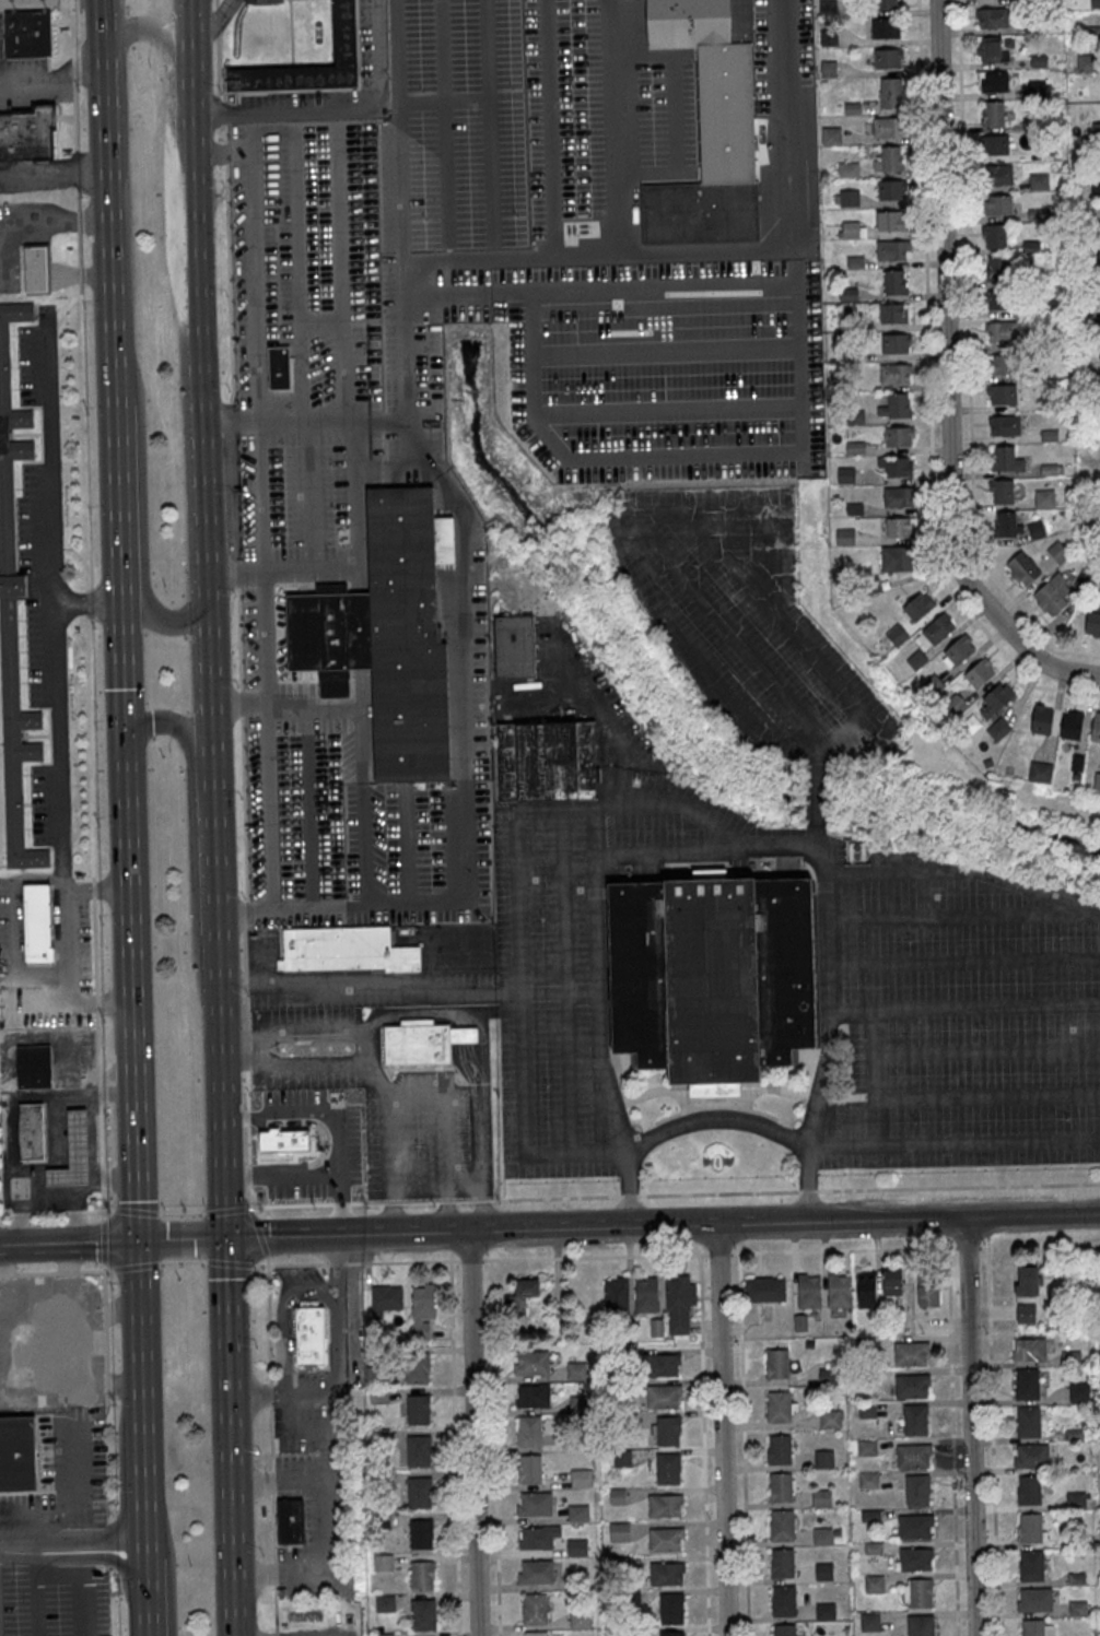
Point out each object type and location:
building: (257, 0)
power substation: (25, 2)
road: (217, 3)
building: (1095, 3)
road: (70, 4)
building: (887, 4)
building: (993, 16)
road: (60, 20)
road: (215, 20)
road: (218, 20)
building: (885, 27)
road: (71, 30)
building: (346, 31)
building: (27, 32)
building: (991, 50)
building: (888, 58)
building: (1086, 62)
road: (219, 63)
street lamp: (150, 64)
parking lot: (20, 66)
road: (72, 66)
road: (55, 78)
building: (994, 81)
street lamp: (80, 87)
building: (1035, 89)
street lamp: (223, 90)
parking lot: (22, 92)
building: (890, 92)
building: (510, 104)
road: (336, 105)
road: (222, 108)
building: (992, 113)
road: (74, 115)
building: (712, 123)
building: (887, 126)
road: (550, 129)
building: (27, 130)
building: (1096, 130)
road: (168, 143)
building: (994, 144)
road: (224, 154)
street lamp: (314, 157)
street lamp: (274, 158)
building: (889, 158)
road: (55, 165)
road: (75, 168)
building: (847, 169)
building: (997, 174)
parking lot: (33, 177)
street lamp: (233, 181)
building: (1038, 181)
street lamp: (225, 185)
building: (891, 189)
building: (1095, 190)
street lamp: (81, 193)
road: (77, 198)
building: (846, 198)
street lamp: (234, 203)
street lamp: (277, 203)
building: (997, 204)
building: (517, 208)
building: (1038, 214)
road: (78, 217)
road: (55, 220)
building: (890, 220)
building: (1098, 225)
street lamp: (234, 226)
building: (994, 235)
building: (1031, 245)
road: (79, 246)
building: (890, 249)
street lamp: (235, 250)
road: (695, 254)
building: (1098, 255)
road: (528, 258)
road: (420, 260)
road: (229, 262)
road: (12, 263)
road: (36, 263)
building: (36, 266)
road: (63, 268)
building: (998, 268)
road: (63, 272)
road: (80, 272)
road: (95, 272)
road: (12, 273)
road: (36, 273)
road: (405, 273)
road: (63, 276)
street lamp: (235, 280)
road: (3, 281)
road: (37, 281)
building: (894, 282)
road: (81, 285)
building: (999, 299)
street lamp: (236, 303)
street lamp: (86, 305)
building: (894, 313)
building: (1097, 323)
street lamp: (236, 326)
building: (1000, 331)
road: (347, 343)
building: (896, 343)
road: (304, 345)
road: (261, 346)
street lamp: (237, 352)
building: (1099, 352)
road: (968, 362)
building: (1002, 364)
building: (280, 365)
road: (114, 369)
building: (894, 373)
road: (947, 377)
street lamp: (237, 379)
road: (198, 380)
building: (1099, 382)
street lamp: (230, 388)
building: (1002, 393)
road: (929, 395)
street lamp: (238, 402)
building: (896, 405)
street lamp: (292, 409)
street lamp: (87, 411)
road: (231, 414)
building: (1004, 424)
road: (379, 425)
road: (274, 427)
building: (1049, 435)
building: (898, 436)
street lamp: (284, 445)
street lamp: (238, 446)
building: (1005, 459)
street lamp: (335, 464)
building: (898, 466)
street lamp: (239, 467)
building: (1049, 469)
street lamp: (285, 487)
building: (1000, 491)
building: (898, 496)
building: (1044, 498)
street lamp: (335, 508)
street lamp: (242, 511)
road: (139, 525)
building: (900, 527)
road: (700, 529)
street lamp: (243, 531)
street lamp: (286, 531)
parking lot: (353, 537)
building: (845, 537)
street lamp: (244, 554)
building: (898, 558)
road: (312, 567)
building: (1022, 568)
road: (236, 570)
street lamp: (166, 586)
street lamp: (235, 595)
building: (1052, 595)
road: (87, 601)
building: (918, 605)
building: (14, 607)
parking lot: (745, 622)
building: (1092, 624)
building: (938, 628)
building: (388, 633)
building: (897, 635)
building: (515, 646)
building: (958, 649)
building: (979, 672)
street lamp: (237, 685)
road: (58, 687)
building: (995, 698)
road: (241, 701)
building: (955, 704)
building: (1041, 718)
road: (174, 723)
building: (1072, 725)
building: (1096, 727)
road: (605, 728)
building: (998, 729)
road: (270, 737)
traffic signals: (127, 739)
road: (364, 758)
building: (546, 761)
building: (1040, 768)
street lamp: (241, 799)
road: (688, 813)
street lamp: (98, 825)
road: (459, 834)
road: (407, 845)
road: (215, 846)
road: (953, 869)
road: (97, 886)
parking lot: (582, 907)
road: (245, 908)
road: (963, 913)
building: (39, 923)
building: (346, 950)
building: (712, 977)
road: (131, 990)
road: (368, 990)
road: (519, 990)
road: (431, 1016)
parking lot: (966, 1017)
building: (422, 1040)
road: (372, 1048)
road: (264, 1050)
building: (34, 1066)
road: (376, 1075)
road: (220, 1084)
road: (440, 1119)
road: (715, 1119)
building: (333, 1120)
building: (33, 1134)
road: (956, 1144)
building: (74, 1156)
road: (442, 1186)
road: (483, 1188)
road: (958, 1188)
road: (807, 1192)
road: (718, 1194)
road: (629, 1197)
road: (553, 1199)
road: (445, 1202)
road: (465, 1202)
road: (481, 1202)
road: (350, 1203)
road: (374, 1203)
road: (419, 1203)
road: (393, 1204)
road: (293, 1205)
road: (102, 1210)
road: (226, 1211)
road: (908, 1220)
road: (593, 1227)
road: (259, 1232)
road: (412, 1234)
road: (290, 1236)
traffic signals: (225, 1239)
road: (182, 1240)
traffic signals: (139, 1241)
road: (69, 1244)
road: (866, 1248)
road: (522, 1258)
road: (338, 1260)
road: (337, 1264)
road: (299, 1266)
building: (1028, 1281)
building: (891, 1283)
building: (764, 1288)
building: (809, 1291)
building: (839, 1291)
building: (866, 1293)
building: (927, 1293)
building: (616, 1294)
building: (646, 1294)
building: (520, 1296)
building: (386, 1299)
building: (679, 1303)
road: (356, 1309)
building: (422, 1309)
building: (1026, 1313)
road: (284, 1316)
building: (657, 1327)
building: (311, 1339)
building: (1029, 1349)
building: (911, 1352)
building: (777, 1363)
road: (270, 1364)
road: (337, 1364)
building: (530, 1364)
building: (664, 1365)
building: (417, 1368)
building: (830, 1372)
building: (376, 1374)
building: (1027, 1382)
building: (913, 1386)
road: (142, 1389)
building: (1079, 1391)
road: (257, 1394)
building: (378, 1396)
building: (531, 1397)
building: (664, 1397)
parking lot: (306, 1400)
building: (779, 1407)
building: (866, 1409)
building: (418, 1410)
building: (830, 1419)
building: (915, 1420)
building: (1028, 1421)
road: (703, 1424)
road: (324, 1427)
road: (970, 1427)
road: (722, 1429)
building: (667, 1431)
building: (529, 1432)
road: (475, 1434)
road: (229, 1437)
parking lot: (300, 1440)
road: (495, 1447)
building: (866, 1447)
building: (779, 1449)
building: (418, 1451)
building: (16, 1452)
building: (913, 1455)
building: (1031, 1456)
building: (823, 1459)
road: (952, 1460)
building: (529, 1468)
building: (667, 1468)
building: (582, 1478)
building: (868, 1480)
road: (273, 1483)
building: (780, 1486)
building: (916, 1488)
building: (1029, 1490)
building: (419, 1492)
building: (618, 1496)
building: (821, 1497)
building: (1076, 1500)
building: (534, 1503)
building: (664, 1505)
building: (578, 1513)
building: (869, 1515)
building: (290, 1523)
building: (781, 1525)
building: (914, 1525)
road: (324, 1527)
road: (274, 1528)
building: (1030, 1528)
parking lot: (337, 1529)
building: (619, 1531)
building: (836, 1531)
building: (821, 1534)
building: (421, 1535)
building: (537, 1537)
building: (665, 1539)
road: (72, 1542)
building: (576, 1546)
building: (873, 1546)
road: (79, 1556)
building: (914, 1558)
building: (383, 1562)
building: (782, 1562)
building: (1031, 1565)
building: (535, 1572)
building: (666, 1573)
road: (58, 1574)
road: (276, 1574)
street lamp: (15, 1575)
building: (421, 1576)
building: (874, 1582)
road: (145, 1587)
parking lot: (52, 1589)
building: (917, 1591)
road: (37, 1596)
building: (1034, 1599)
building: (783, 1601)
building: (385, 1603)
road: (80, 1605)
building: (670, 1608)
building: (534, 1609)
road: (276, 1611)
building: (423, 1614)
building: (580, 1619)
building: (869, 1622)
building: (920, 1625)
building: (1032, 1627)
building: (784, 1629)
building: (535, 1633)
building: (384, 1634)
building: (671, 1634)
road: (277, 1635)

